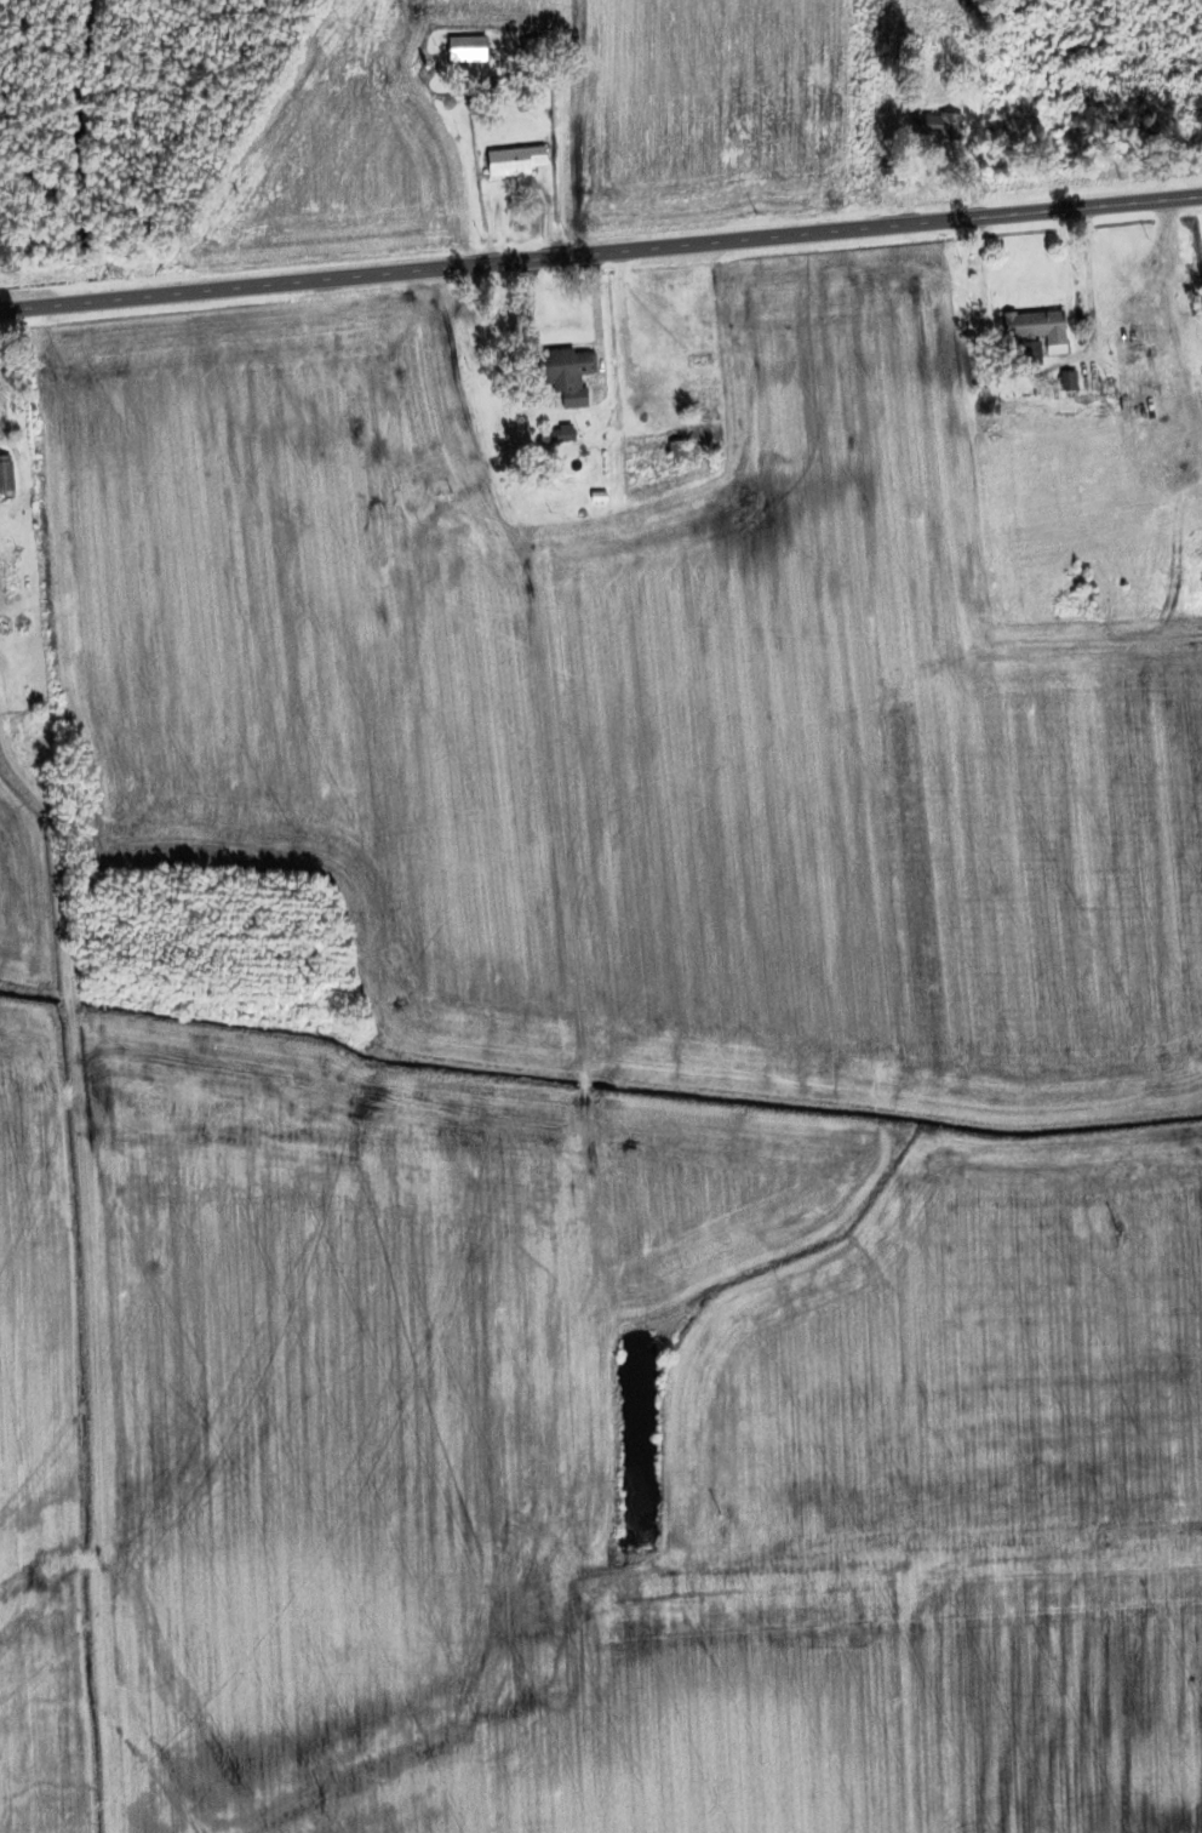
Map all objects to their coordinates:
building: (464, 50)
building: (957, 50)
building: (932, 126)
road: (560, 127)
building: (513, 160)
road: (600, 251)
building: (1032, 326)
building: (1028, 353)
building: (563, 375)
road: (2, 405)
building: (692, 433)
building: (553, 435)
building: (5, 474)

